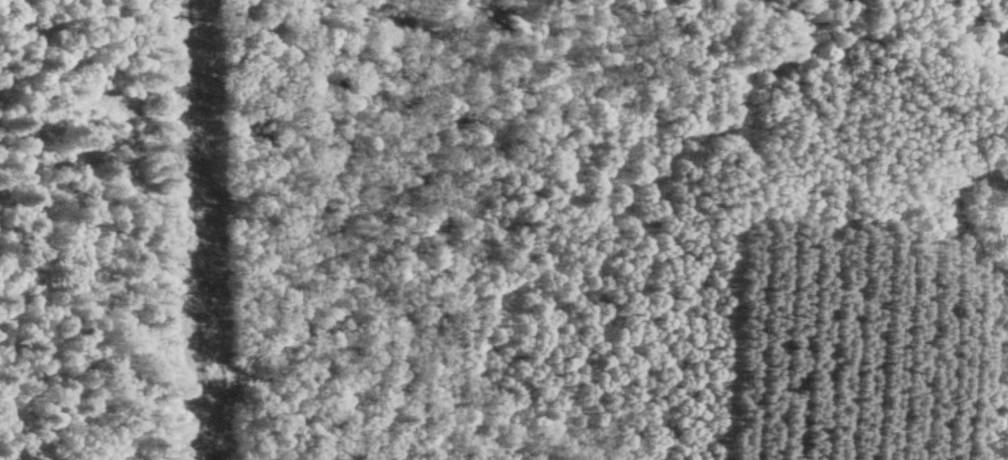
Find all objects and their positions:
road: (185, 230)

